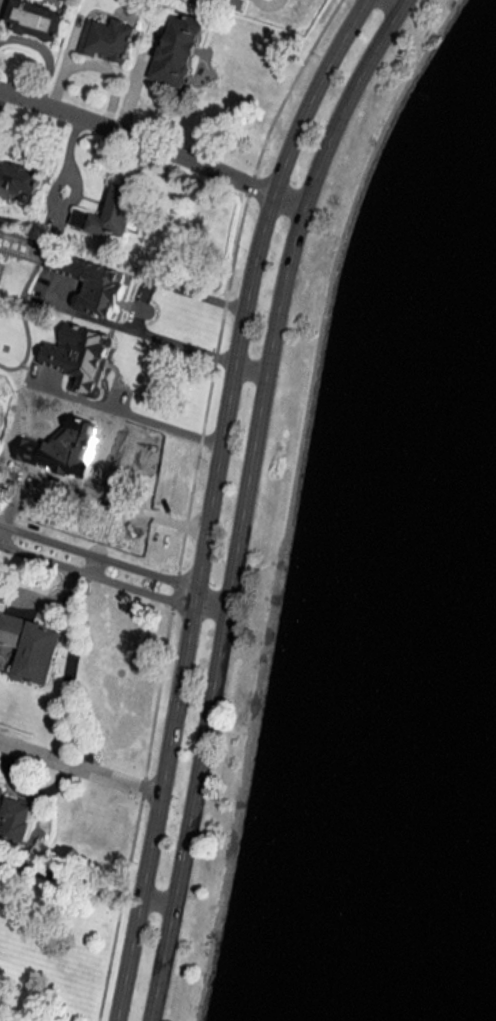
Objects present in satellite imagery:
building: (220, 2)
road: (393, 3)
building: (34, 19)
building: (107, 40)
building: (177, 50)
road: (152, 147)
building: (18, 182)
building: (108, 213)
building: (90, 282)
road: (136, 305)
building: (78, 355)
road: (249, 369)
road: (158, 420)
road: (243, 499)
road: (208, 501)
road: (96, 554)
road: (91, 563)
road: (94, 574)
road: (207, 606)
building: (31, 647)
road: (78, 766)
building: (14, 818)
road: (85, 878)

